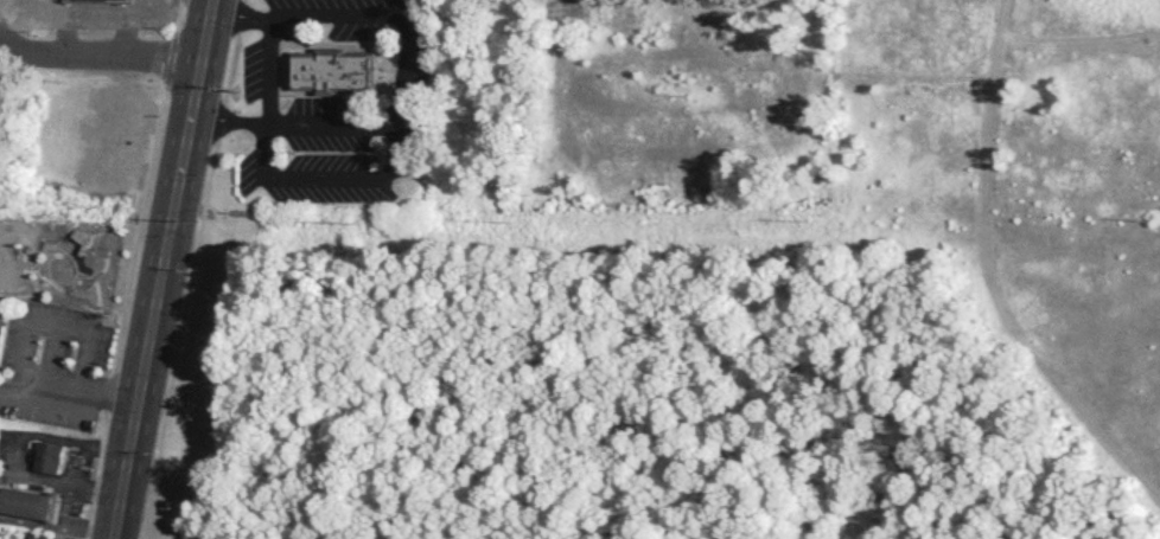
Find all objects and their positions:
building: (97, 0)
road: (242, 11)
road: (177, 17)
road: (101, 59)
road: (170, 59)
road: (404, 63)
building: (332, 69)
road: (270, 70)
building: (0, 103)
road: (232, 121)
road: (330, 174)
road: (165, 269)
road: (191, 269)
road: (995, 272)
building: (2, 306)
road: (122, 312)
road: (69, 387)
road: (49, 436)
building: (49, 456)
road: (68, 487)
building: (28, 502)
road: (58, 526)
building: (34, 534)

